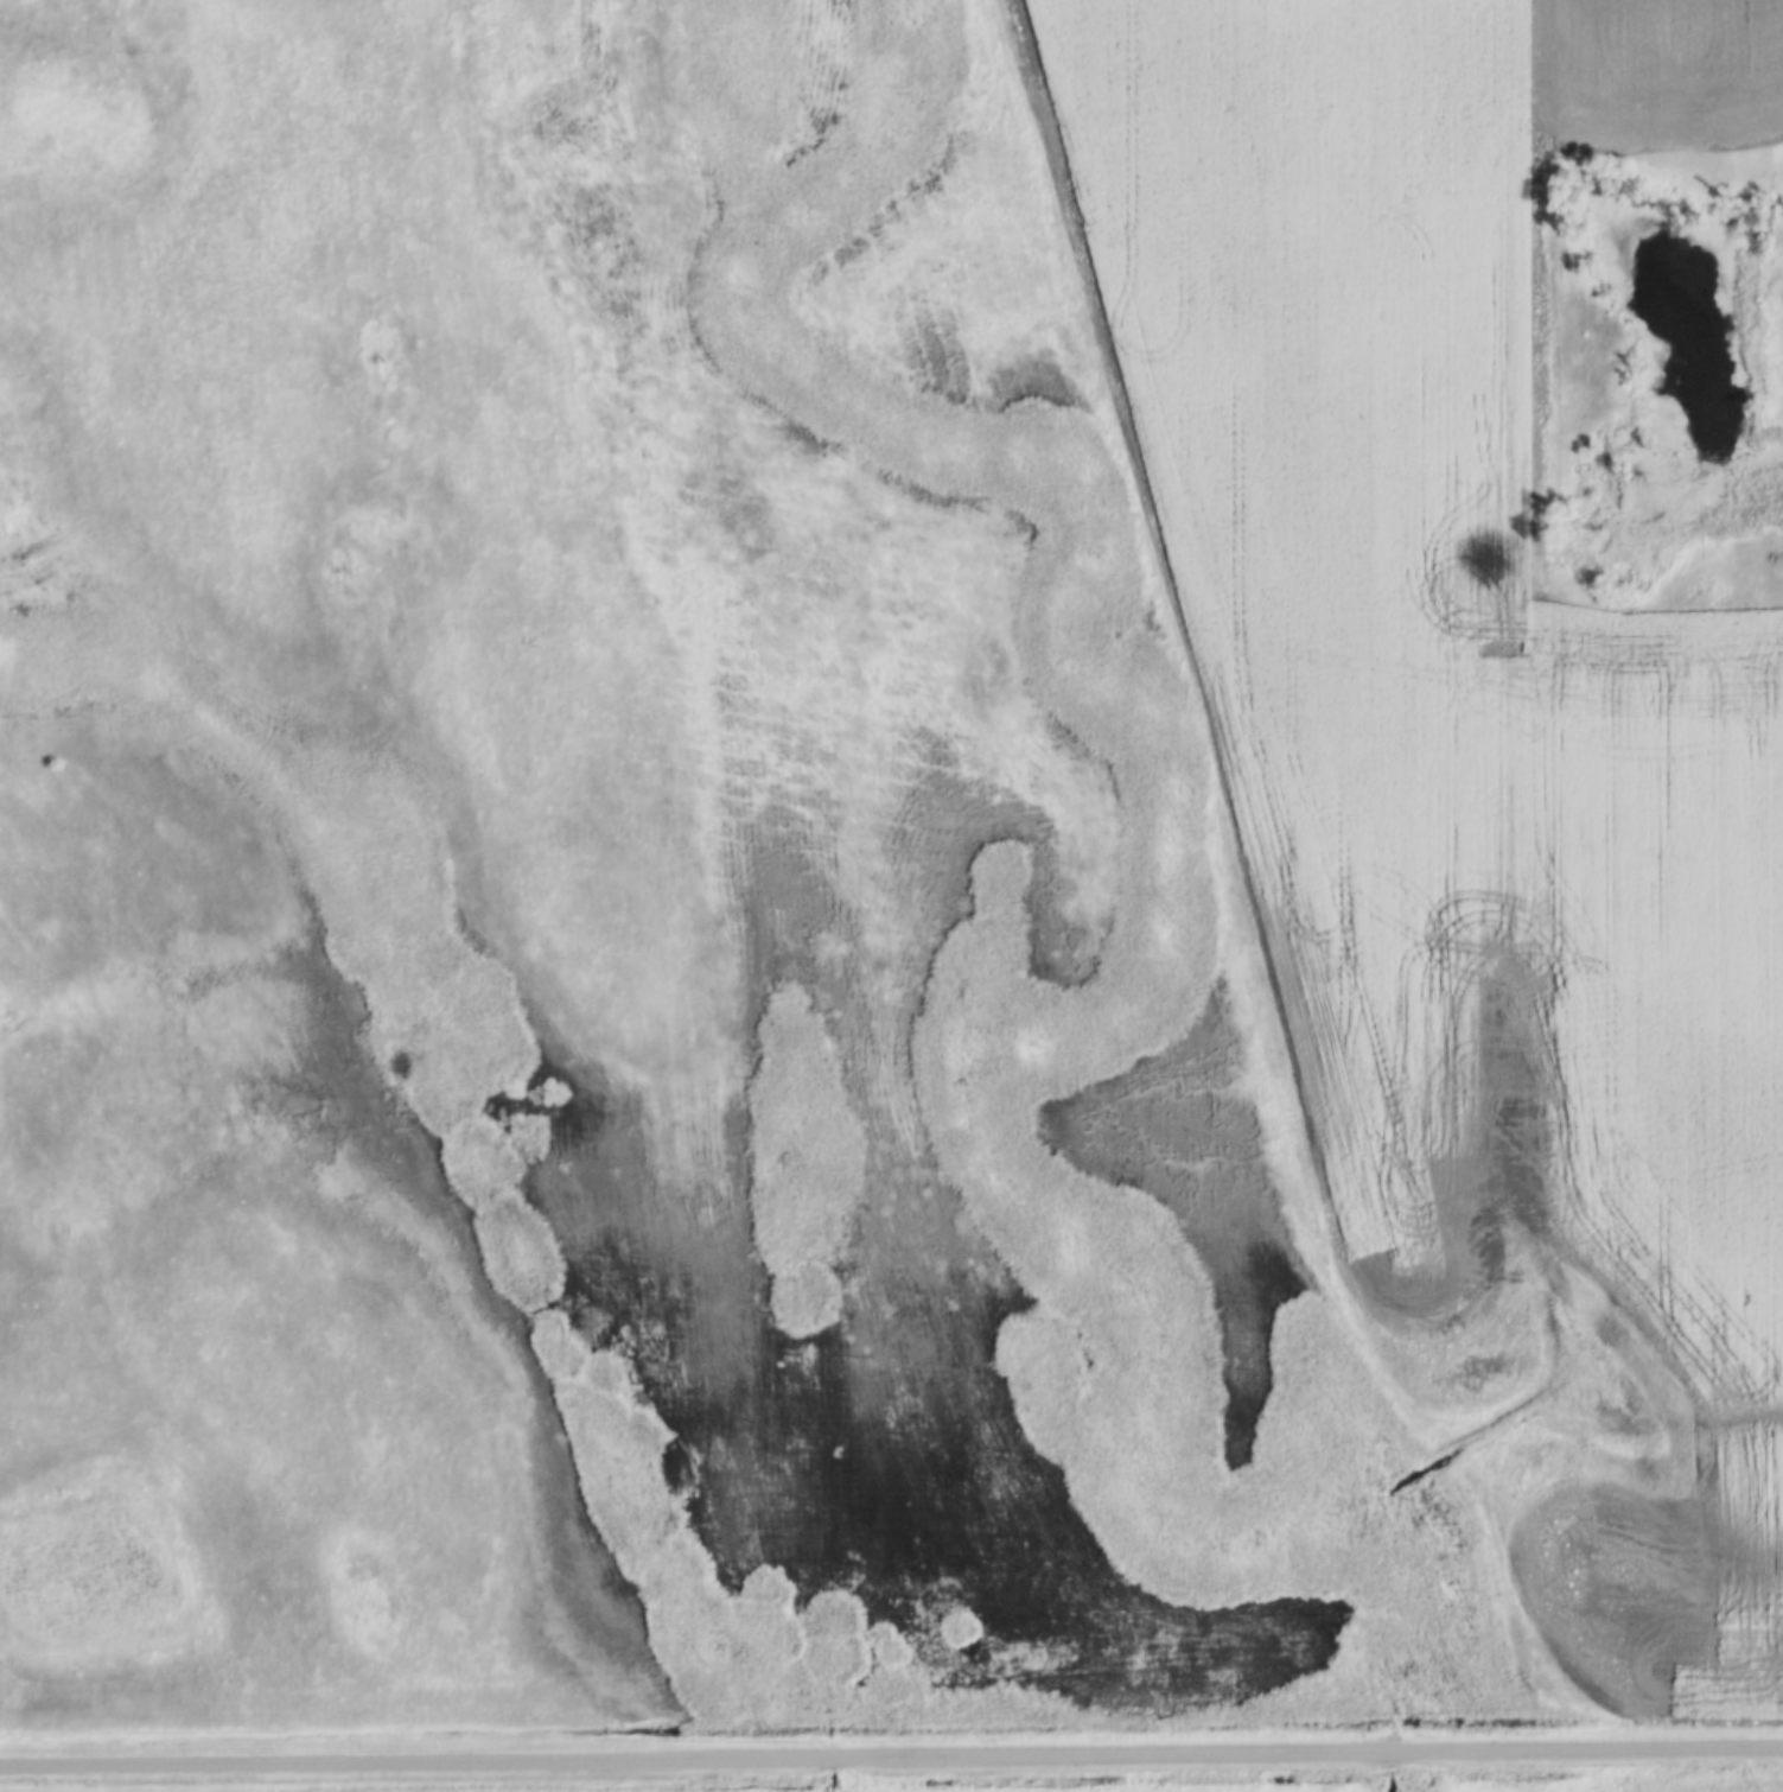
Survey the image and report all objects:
road: (1766, 579)
road: (891, 1759)

